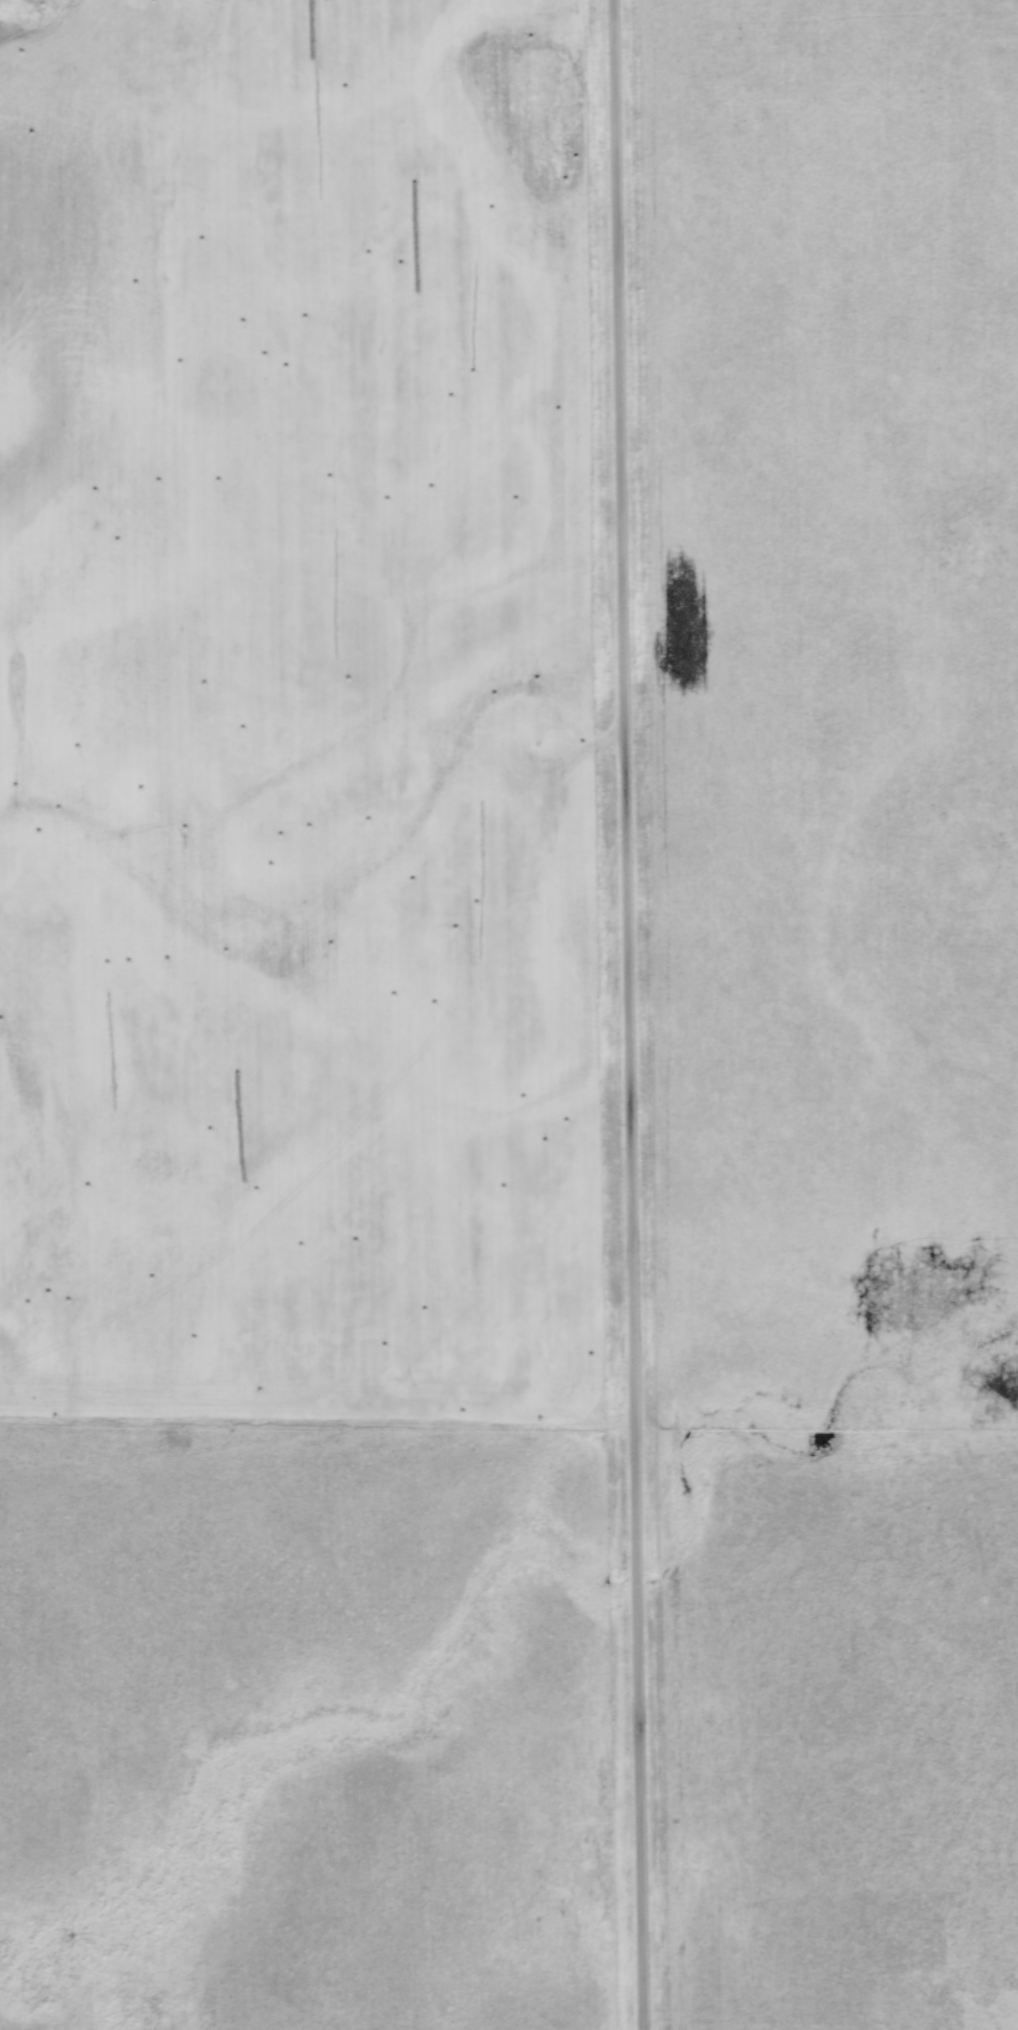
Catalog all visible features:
road: (631, 1014)

